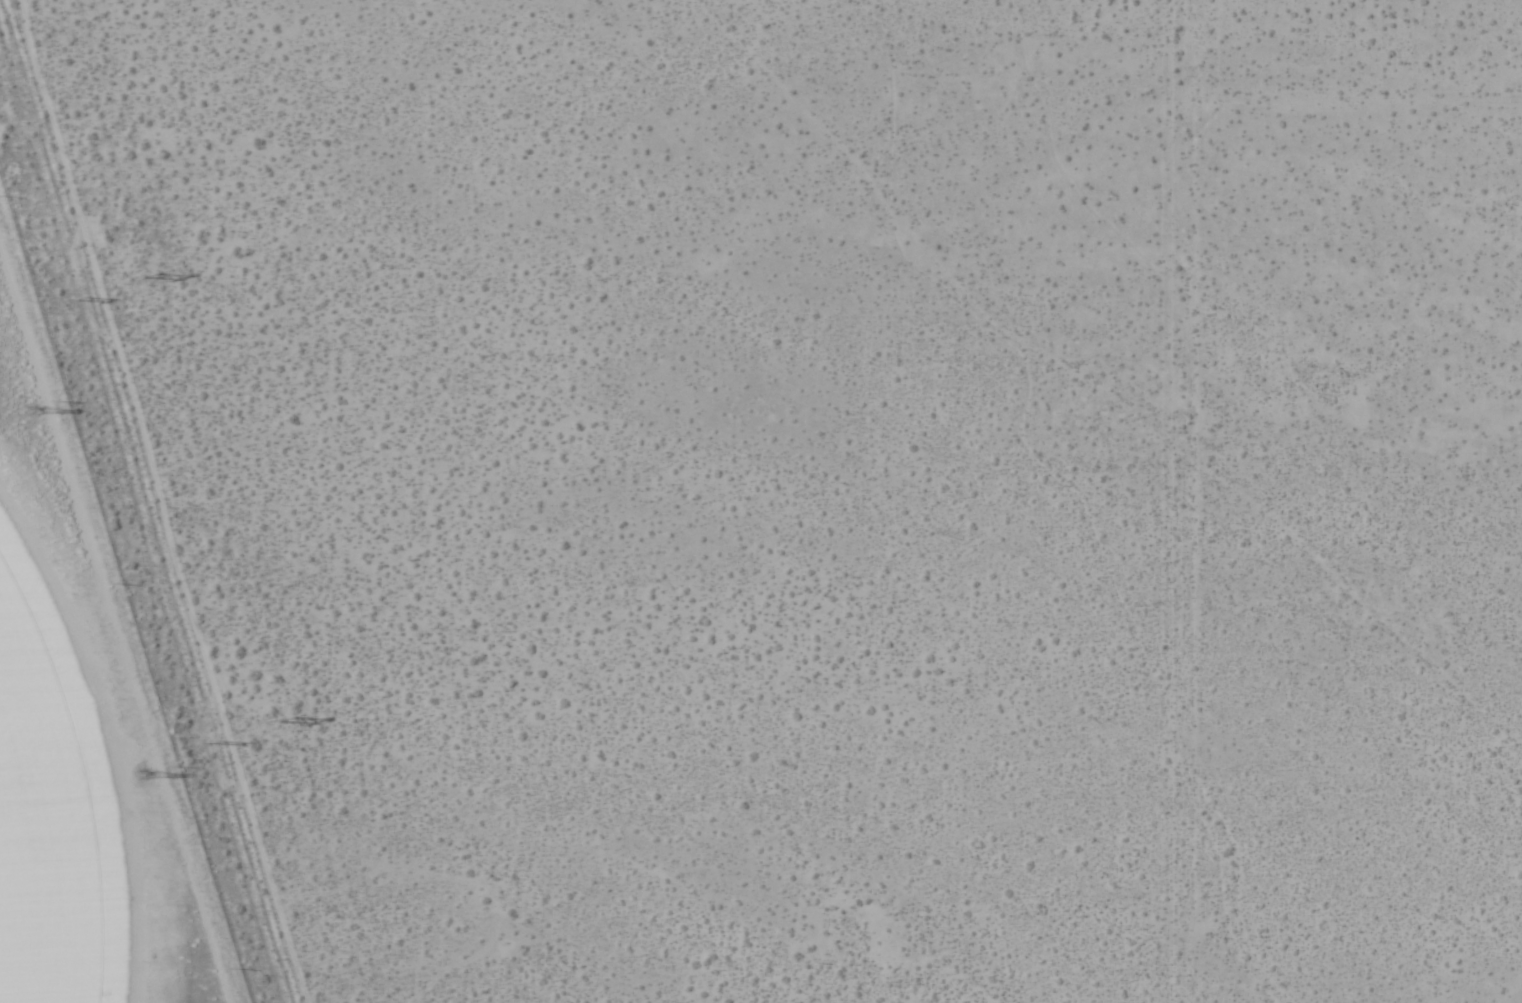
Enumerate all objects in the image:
power tower: (144, 277)
power tower: (78, 296)
power tower: (30, 417)
power tower: (279, 720)
power tower: (214, 741)
power tower: (139, 782)
crop: (52, 804)

